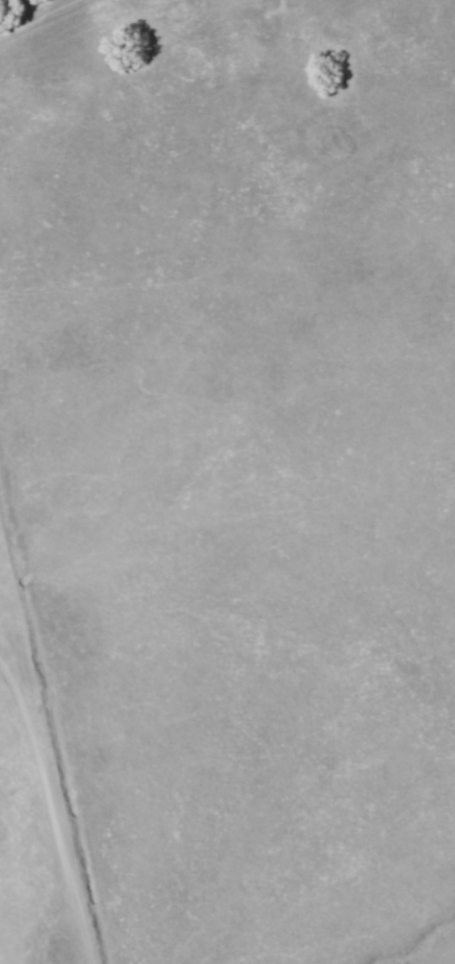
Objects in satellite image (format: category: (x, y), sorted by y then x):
road: (58, 807)

